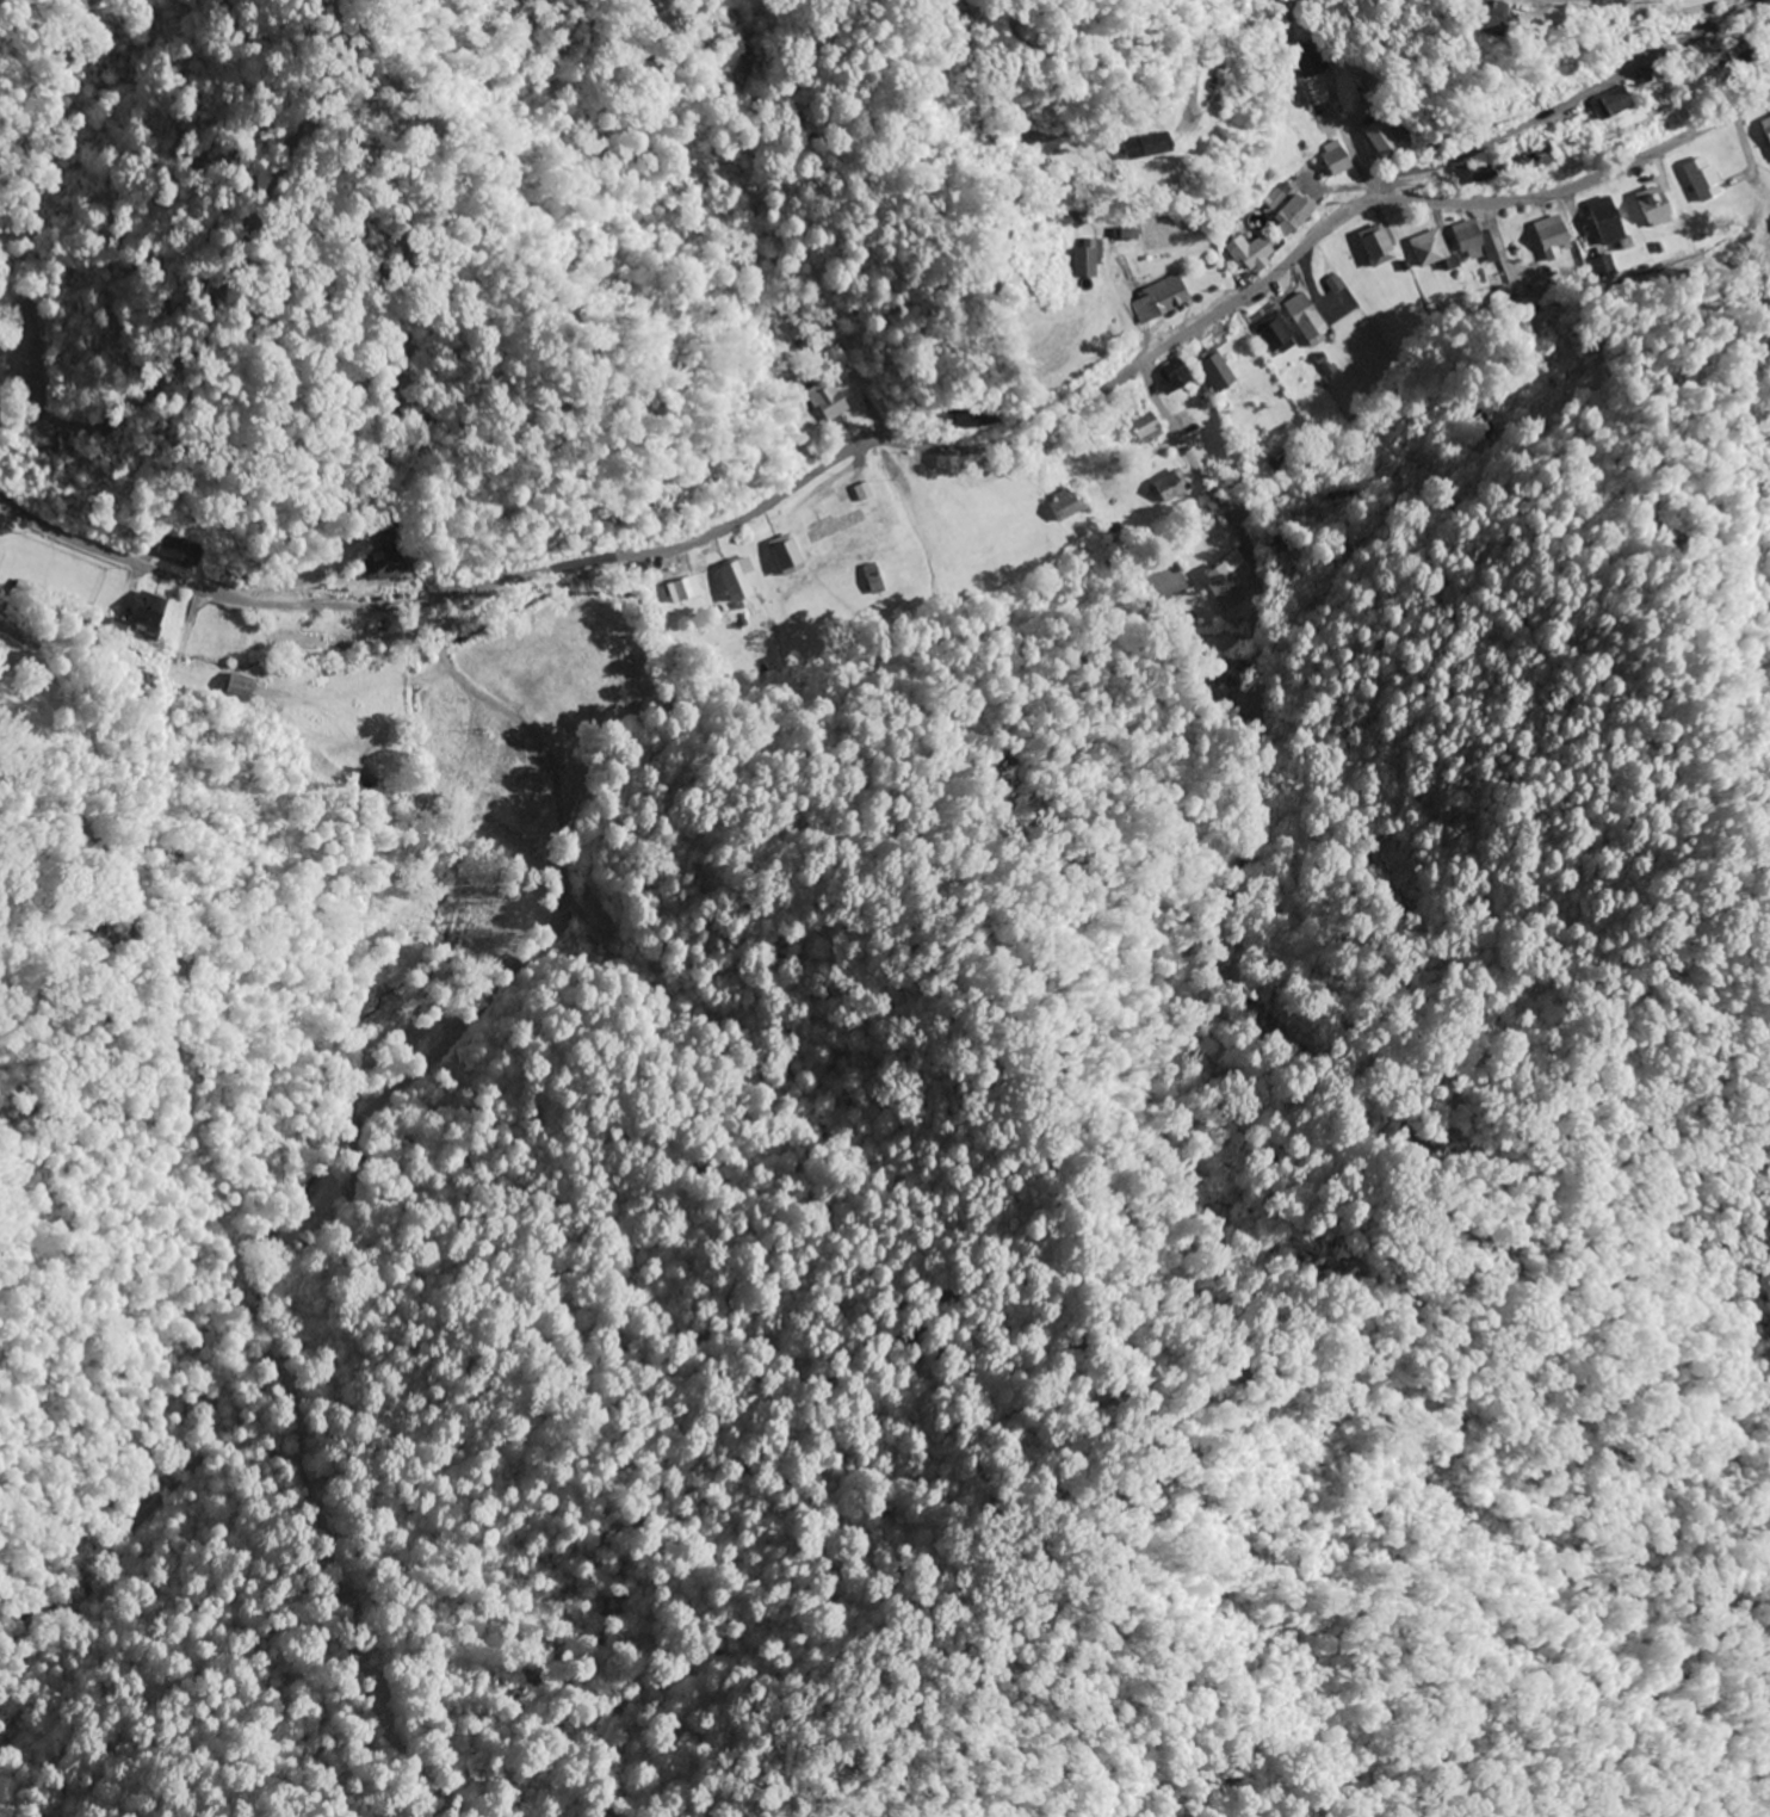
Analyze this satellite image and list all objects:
building: (1498, 25)
building: (1740, 56)
building: (1311, 63)
road: (1195, 70)
building: (1613, 105)
road: (1564, 106)
building: (1768, 125)
building: (1385, 141)
building: (1151, 147)
building: (1537, 155)
building: (1337, 159)
building: (1477, 174)
building: (1704, 180)
road: (1577, 184)
building: (1657, 208)
building: (1294, 216)
building: (1609, 222)
building: (1554, 237)
building: (1473, 241)
building: (1379, 246)
building: (1436, 251)
building: (1255, 254)
building: (1090, 259)
building: (1159, 301)
building: (1310, 320)
building: (1275, 334)
building: (1114, 336)
building: (1217, 371)
building: (33, 378)
building: (1176, 382)
building: (828, 401)
building: (976, 419)
building: (1147, 426)
road: (662, 444)
road: (1196, 470)
road: (1363, 482)
building: (1171, 488)
building: (1343, 494)
building: (1066, 507)
building: (835, 526)
road: (716, 527)
road: (922, 533)
building: (182, 552)
building: (788, 556)
building: (388, 566)
building: (236, 580)
building: (737, 581)
building: (1225, 583)
building: (26, 589)
building: (688, 591)
building: (213, 637)
building: (295, 639)
building: (342, 643)
road: (125, 682)
road: (493, 709)
building: (525, 799)

